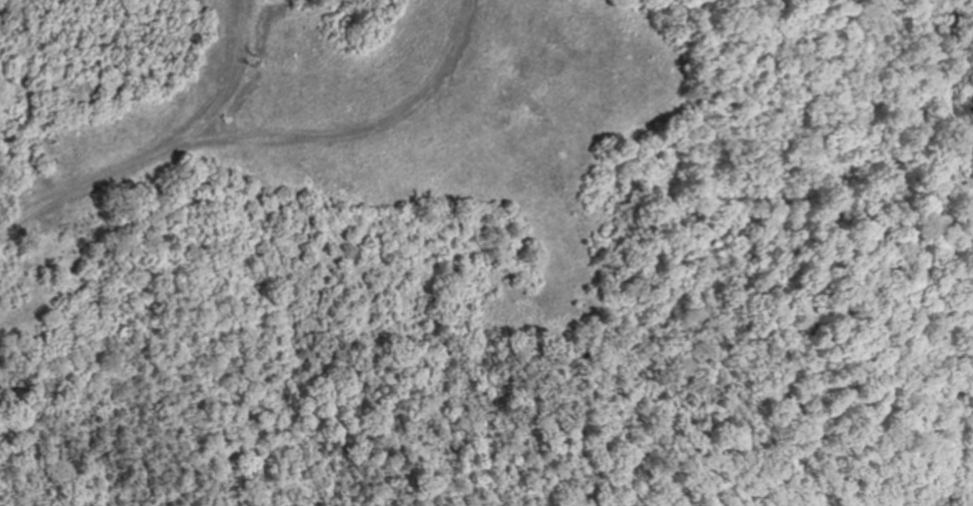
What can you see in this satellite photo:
road: (351, 134)
road: (81, 188)

